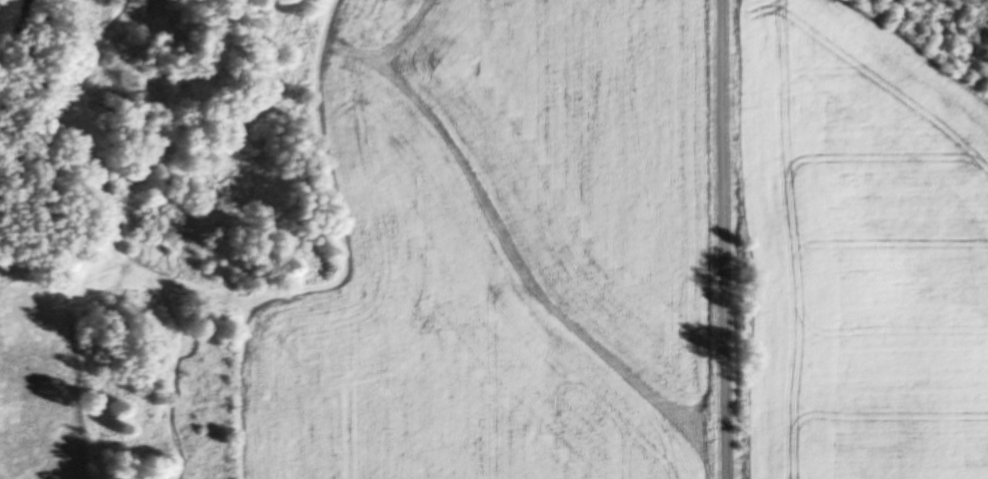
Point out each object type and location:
road: (725, 239)

